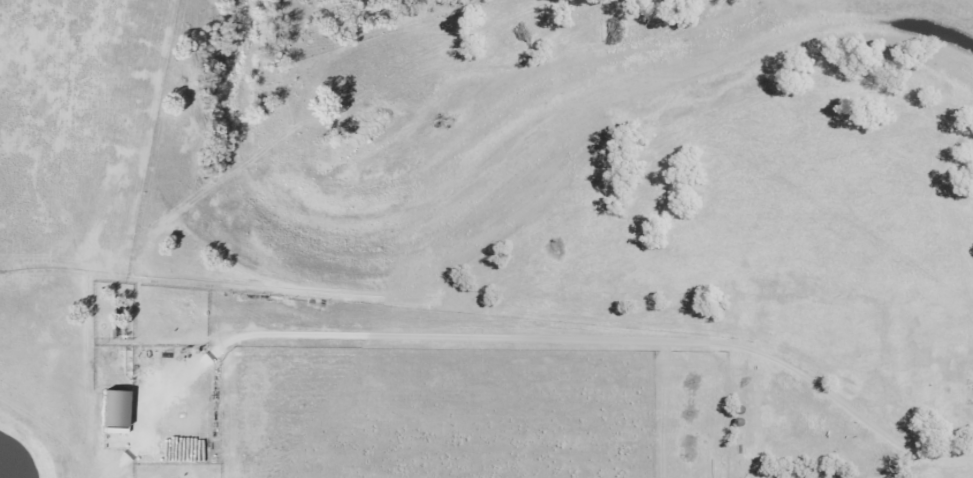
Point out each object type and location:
road: (492, 335)
building: (111, 407)

